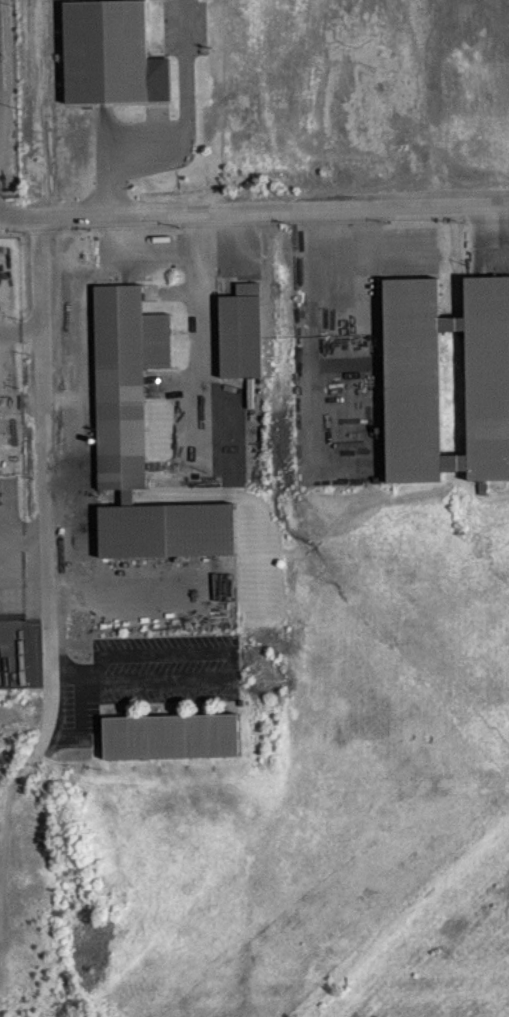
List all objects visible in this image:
building: (112, 64)
road: (254, 212)
road: (21, 329)
building: (242, 342)
building: (426, 378)
road: (20, 400)
building: (142, 449)
building: (485, 460)
road: (42, 495)
road: (21, 542)
road: (132, 600)
building: (174, 747)

